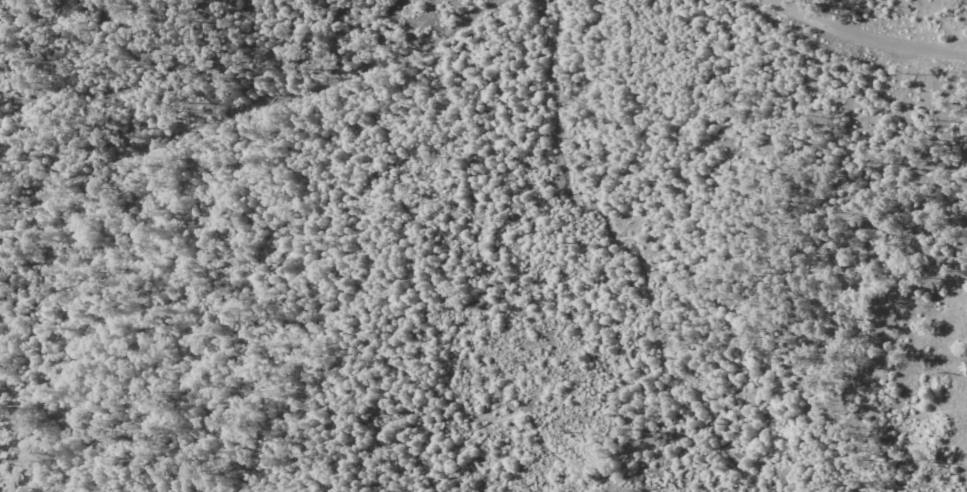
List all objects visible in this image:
road: (870, 37)
park: (483, 246)
road: (761, 364)
road: (515, 413)

